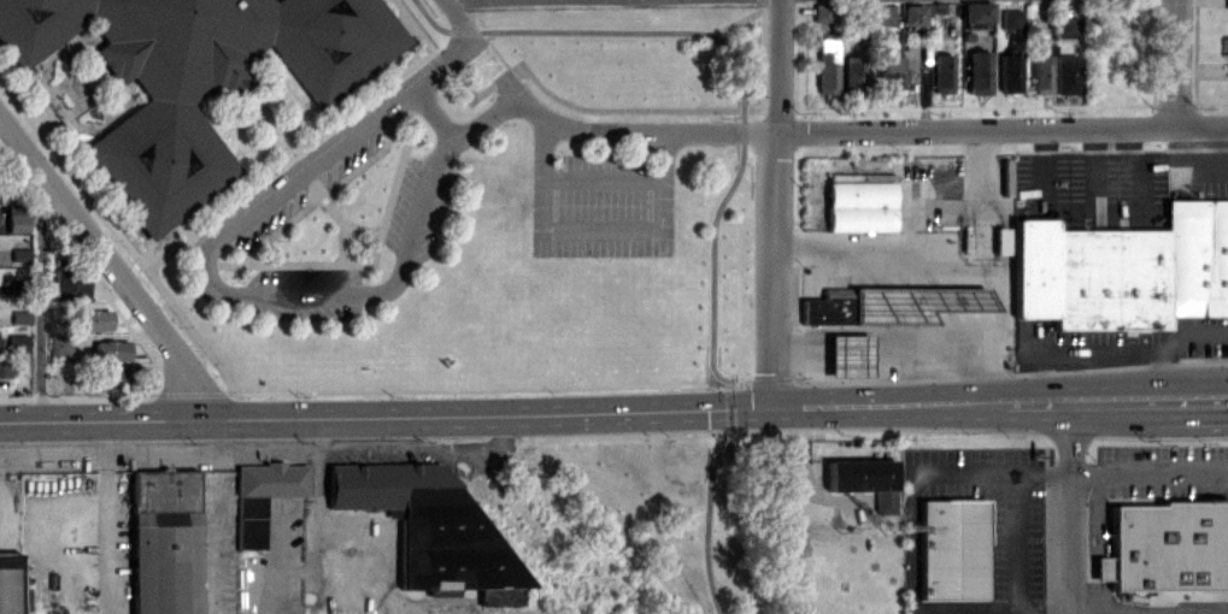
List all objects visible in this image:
road: (487, 0)
building: (1226, 4)
building: (822, 11)
building: (976, 11)
building: (885, 13)
building: (911, 13)
road: (459, 19)
building: (1011, 19)
building: (1067, 25)
building: (1224, 45)
road: (1174, 63)
building: (825, 65)
building: (1040, 66)
building: (941, 72)
building: (979, 72)
building: (1010, 72)
building: (851, 73)
building: (1065, 73)
building: (887, 75)
building: (195, 77)
road: (434, 114)
road: (853, 130)
road: (1191, 154)
road: (738, 173)
road: (603, 177)
road: (981, 200)
road: (772, 202)
building: (859, 206)
road: (923, 206)
building: (14, 217)
road: (593, 229)
building: (19, 253)
road: (110, 262)
road: (948, 268)
building: (1123, 270)
building: (67, 287)
road: (229, 294)
road: (39, 295)
building: (889, 305)
building: (19, 315)
building: (93, 319)
road: (1171, 341)
building: (18, 343)
building: (59, 344)
building: (112, 349)
building: (848, 355)
building: (4, 366)
building: (112, 378)
road: (1186, 397)
road: (1076, 400)
road: (889, 405)
road: (386, 414)
road: (801, 468)
road: (998, 472)
building: (864, 479)
building: (264, 496)
road: (1073, 507)
road: (108, 516)
building: (431, 527)
road: (315, 533)
building: (181, 543)
road: (1017, 543)
building: (1164, 547)
building: (952, 548)
building: (10, 583)
road: (404, 613)
road: (410, 613)

